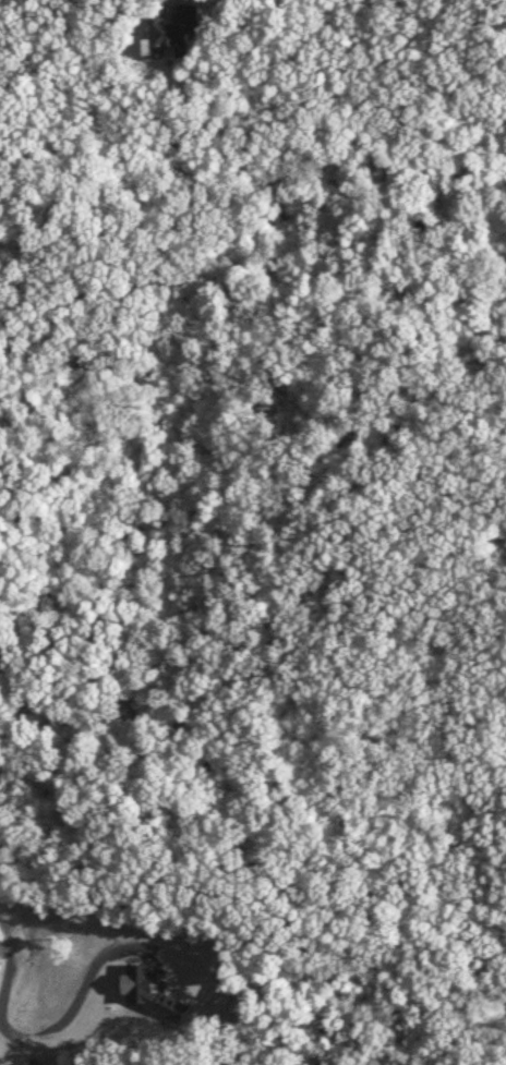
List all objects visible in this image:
building: (173, 33)
road: (148, 283)
road: (41, 992)
building: (21, 997)
building: (20, 1064)

